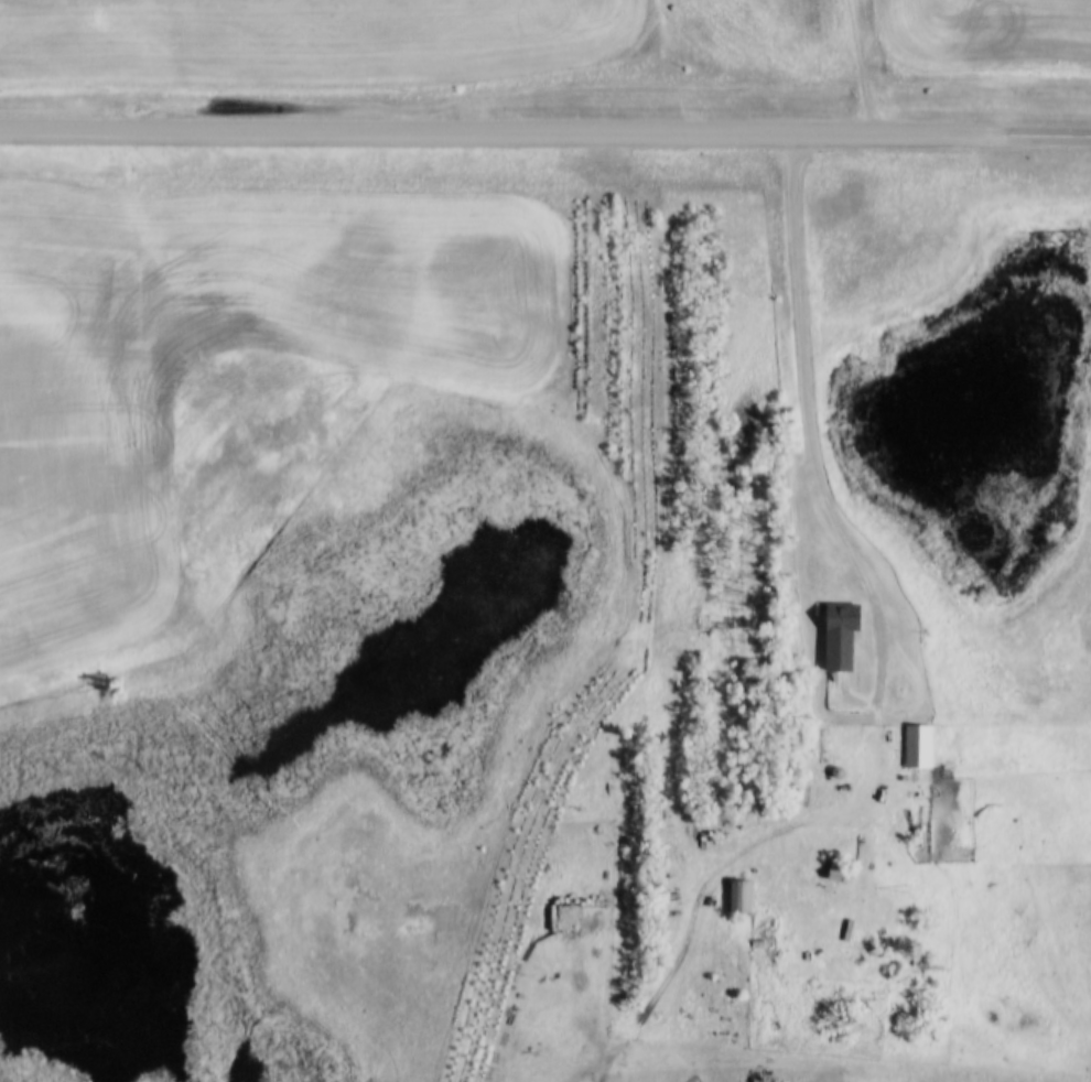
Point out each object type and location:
road: (489, 132)
road: (1036, 134)
road: (184, 183)
road: (808, 432)
building: (845, 634)
building: (920, 747)
building: (725, 824)
building: (839, 872)
building: (742, 896)
road: (540, 1079)

